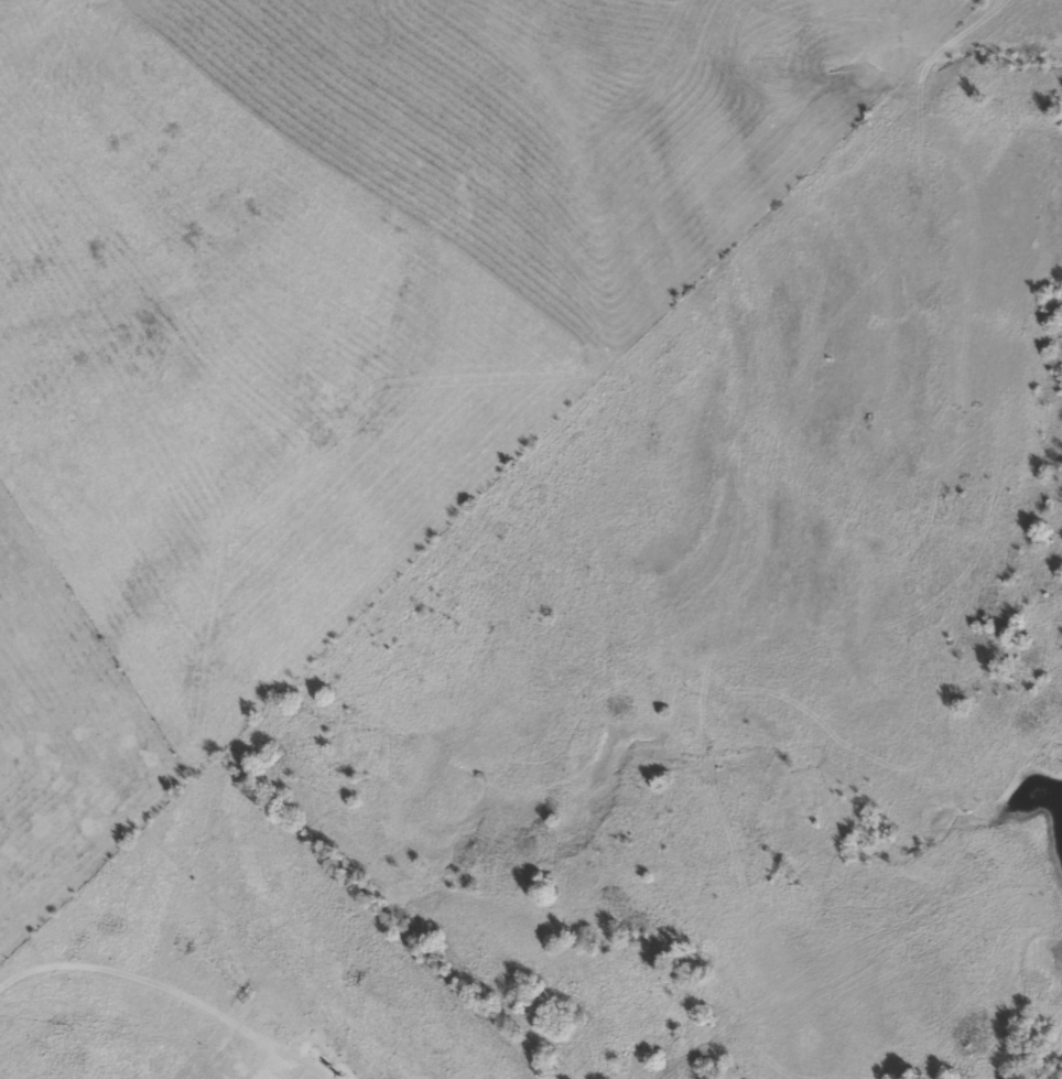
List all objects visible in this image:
road: (152, 988)

